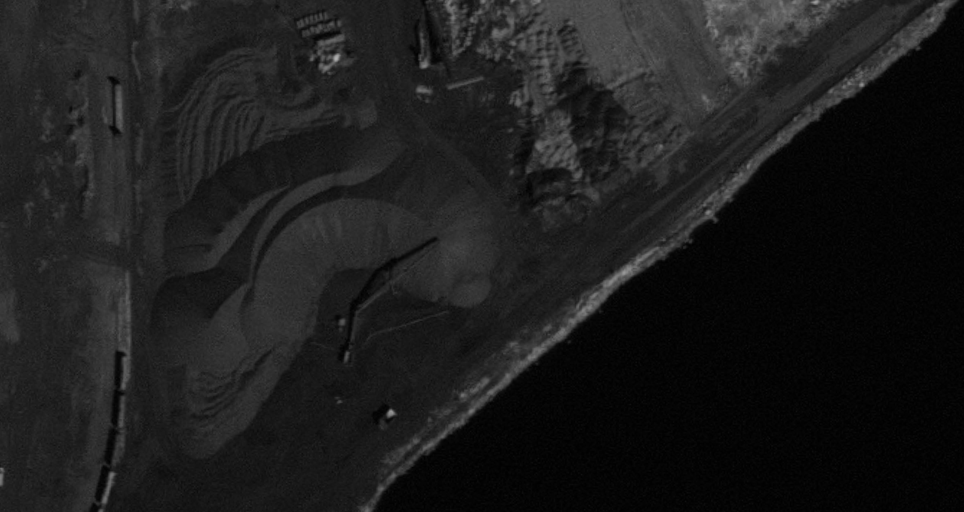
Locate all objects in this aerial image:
railway: (121, 257)

